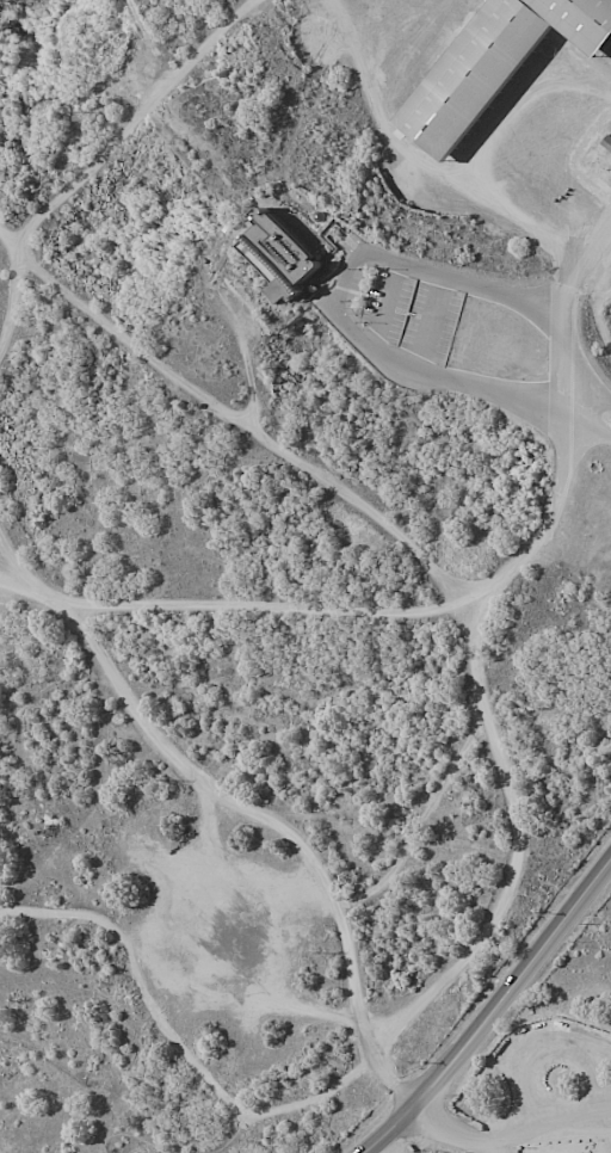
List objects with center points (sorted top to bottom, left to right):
building: (504, 72)
building: (609, 143)
quarry: (110, 146)
road: (586, 248)
building: (295, 266)
road: (339, 298)
road: (387, 304)
parking lot: (412, 314)
road: (431, 323)
road: (558, 381)
road: (585, 384)
road: (585, 414)
road: (14, 581)
road: (237, 826)
road: (493, 1013)
road: (369, 1019)
road: (179, 1054)

